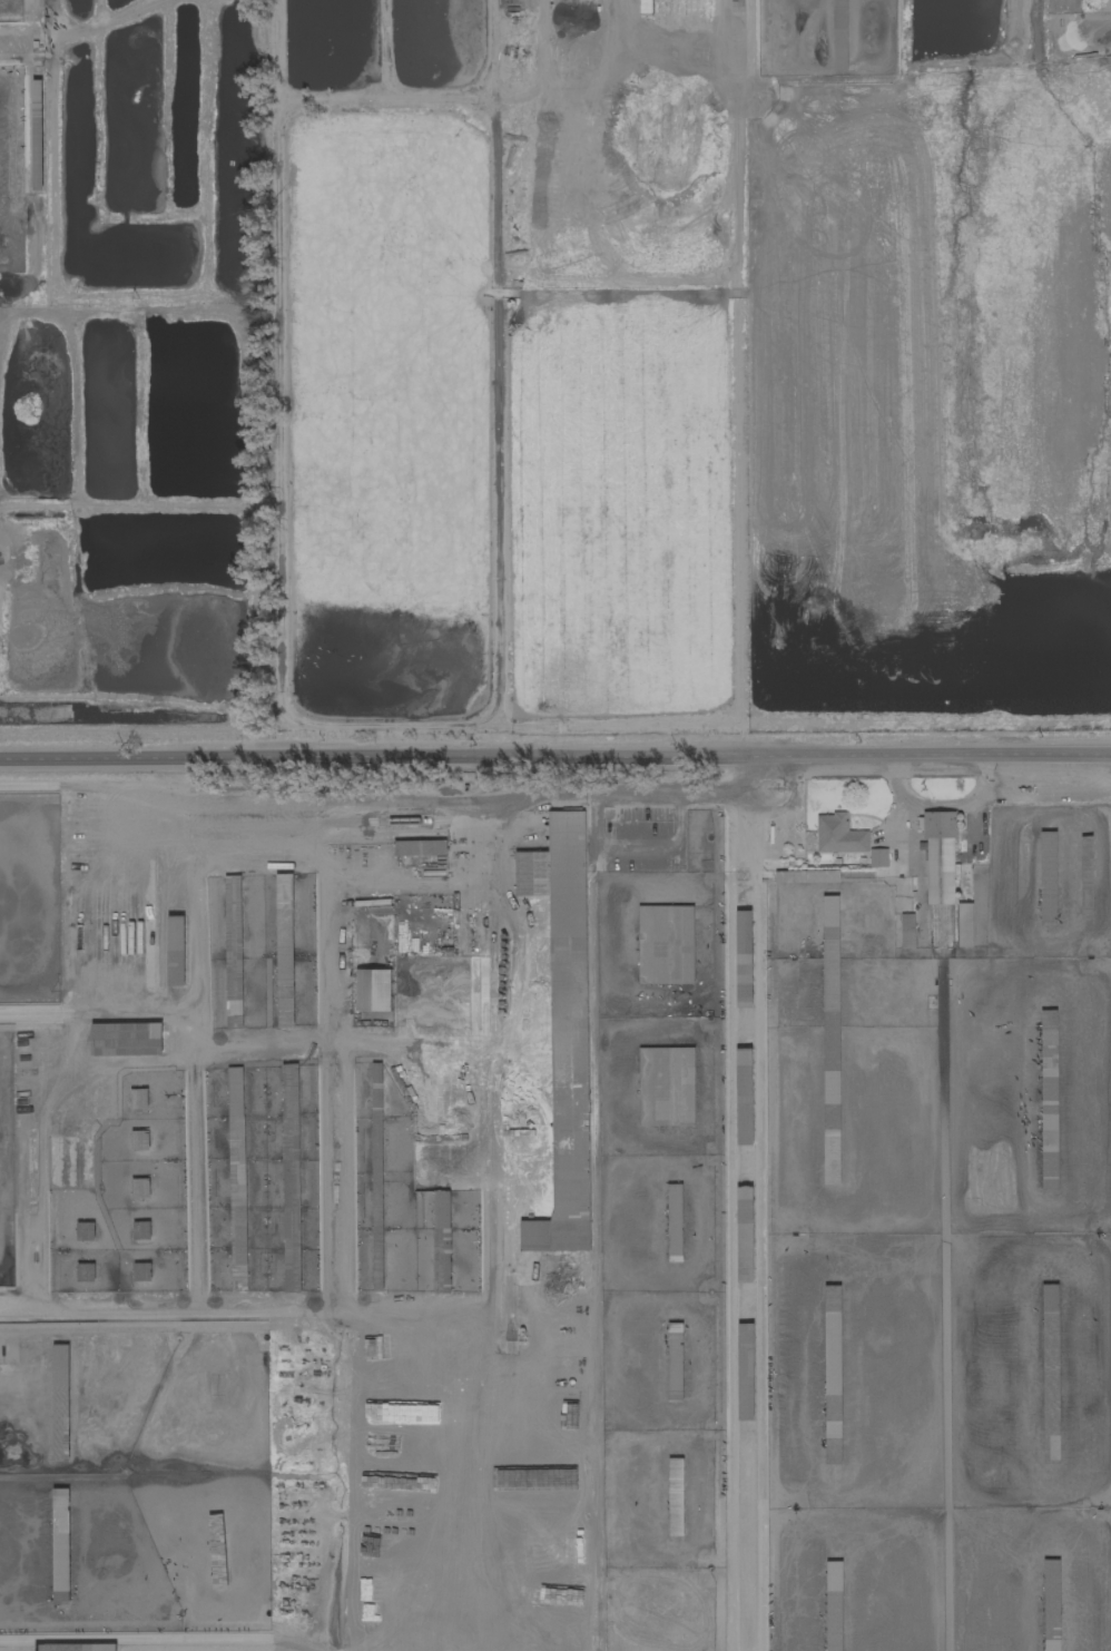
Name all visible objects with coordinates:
road: (555, 757)
road: (394, 793)
road: (936, 806)
road: (904, 832)
building: (838, 834)
building: (940, 857)
building: (806, 876)
road: (395, 883)
building: (964, 924)
building: (666, 944)
building: (176, 950)
building: (284, 950)
building: (233, 952)
building: (744, 957)
building: (373, 990)
road: (147, 1004)
building: (564, 1029)
building: (127, 1039)
building: (832, 1041)
building: (666, 1085)
building: (138, 1098)
building: (1049, 1108)
building: (291, 1121)
building: (85, 1230)
building: (141, 1230)
building: (674, 1235)
building: (442, 1241)
building: (85, 1271)
building: (141, 1271)
building: (675, 1362)
building: (834, 1389)
building: (60, 1546)
building: (99, 1647)

